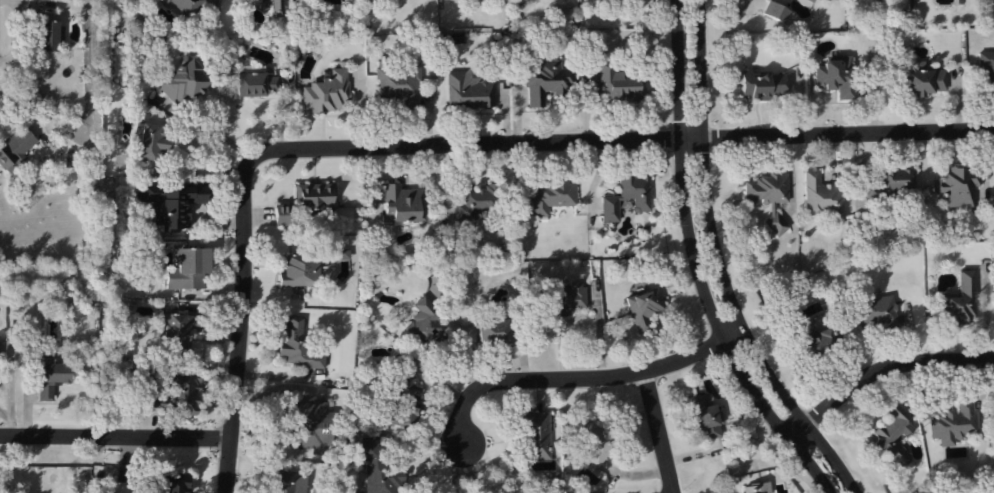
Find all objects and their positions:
building: (812, 0)
building: (826, 0)
building: (185, 6)
building: (278, 7)
building: (775, 11)
building: (50, 36)
building: (986, 66)
building: (836, 76)
building: (923, 79)
building: (547, 80)
building: (182, 81)
building: (400, 83)
building: (619, 83)
building: (255, 84)
building: (761, 85)
building: (468, 90)
building: (328, 93)
road: (844, 134)
building: (150, 141)
building: (16, 149)
road: (304, 149)
building: (891, 182)
building: (958, 186)
building: (636, 191)
building: (551, 195)
building: (315, 196)
building: (769, 197)
building: (822, 197)
building: (475, 201)
building: (171, 203)
building: (403, 203)
building: (610, 208)
building: (282, 214)
road: (679, 264)
road: (709, 265)
building: (188, 269)
building: (300, 270)
building: (565, 298)
building: (961, 300)
building: (645, 308)
building: (877, 312)
building: (426, 324)
building: (181, 331)
building: (493, 332)
building: (817, 342)
building: (298, 345)
road: (886, 368)
building: (52, 378)
road: (580, 378)
building: (180, 392)
building: (705, 417)
building: (953, 423)
building: (310, 425)
road: (660, 432)
building: (536, 435)
building: (891, 435)
road: (116, 437)
building: (597, 442)
road: (420, 443)
building: (378, 468)
building: (175, 482)
building: (287, 482)
building: (756, 488)

